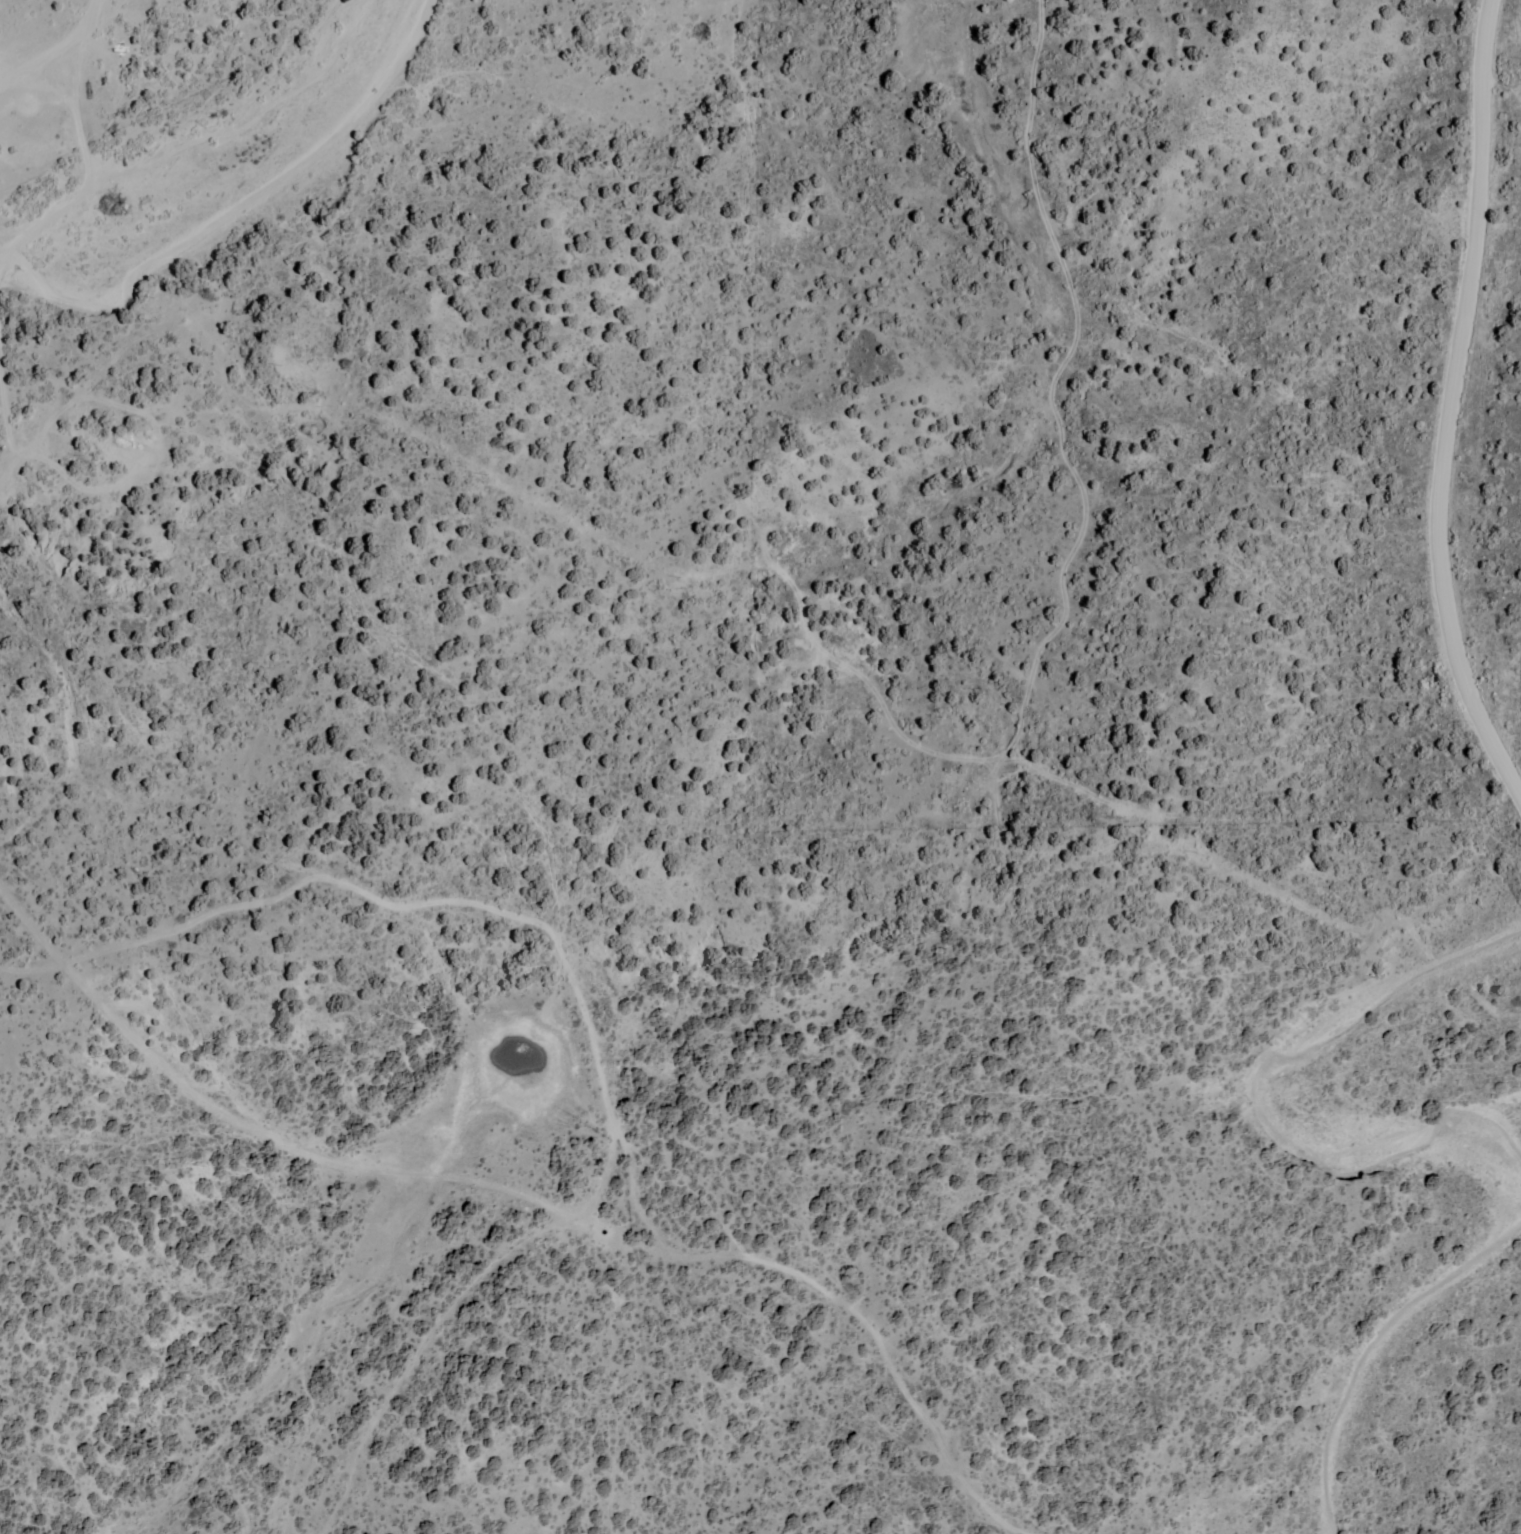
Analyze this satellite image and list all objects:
road: (83, 22)
road: (34, 61)
road: (85, 184)
road: (1449, 410)
road: (6, 475)
road: (426, 901)
road: (840, 1301)
road: (416, 1354)

